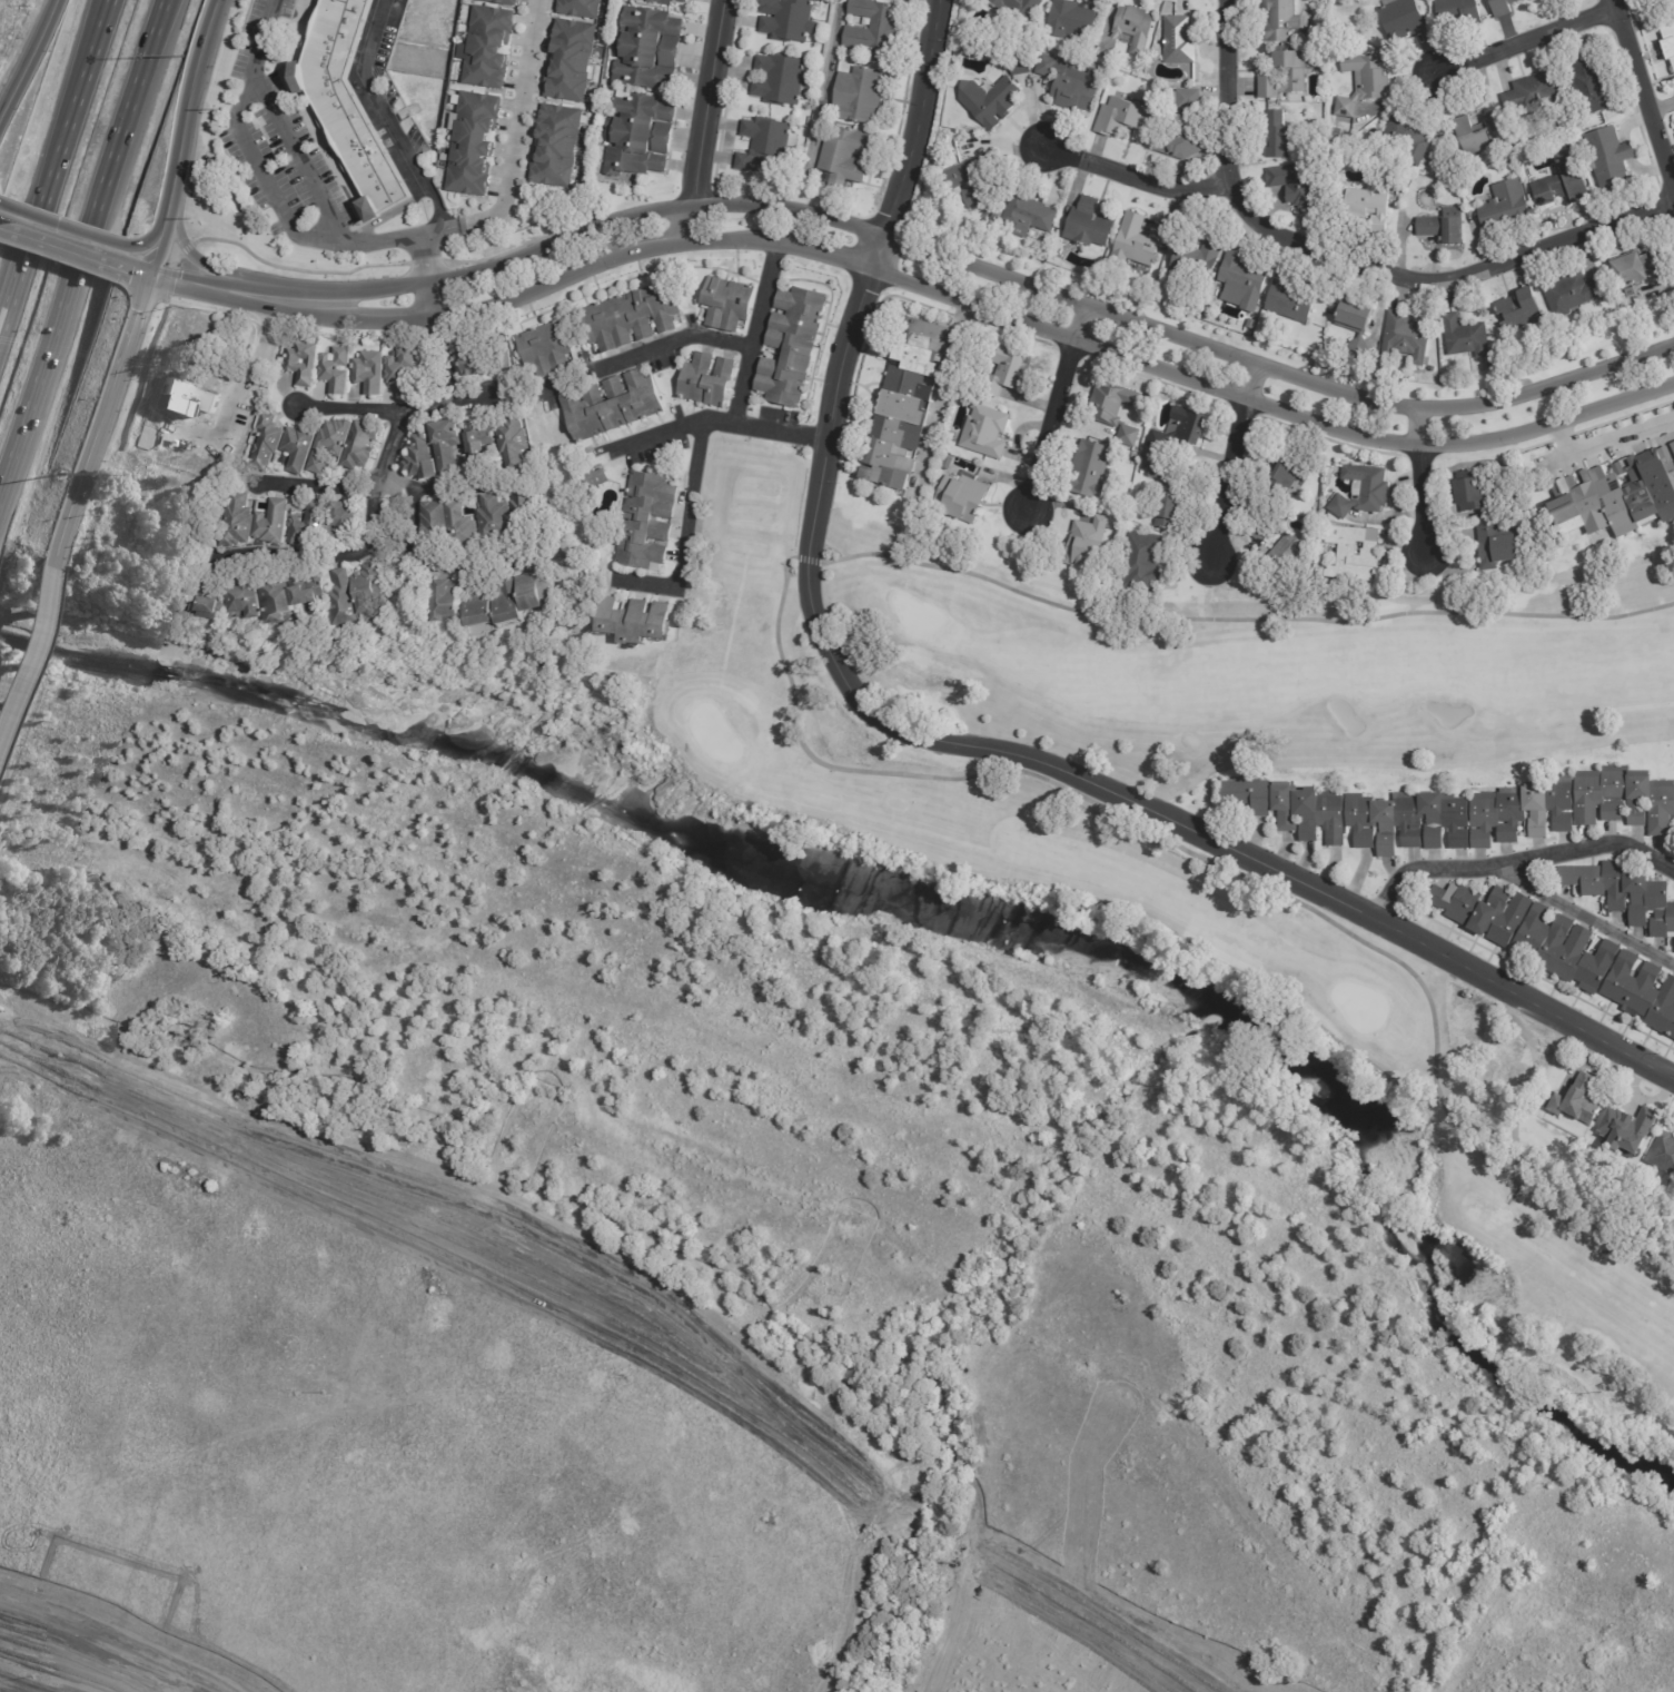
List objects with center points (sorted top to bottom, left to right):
building: (667, 1)
building: (505, 2)
building: (1660, 3)
building: (1502, 7)
building: (582, 8)
building: (1014, 9)
building: (1457, 12)
building: (1399, 19)
building: (791, 20)
building: (1069, 20)
building: (1277, 21)
road: (153, 23)
road: (156, 23)
building: (874, 27)
building: (1126, 33)
building: (1177, 41)
building: (1667, 41)
road: (1525, 43)
building: (492, 48)
building: (651, 50)
building: (575, 61)
road: (30, 65)
building: (1017, 65)
building: (1282, 76)
building: (784, 80)
building: (1361, 83)
building: (1069, 85)
road: (825, 86)
building: (1588, 86)
road: (71, 88)
building: (861, 95)
building: (1528, 95)
road: (1643, 95)
building: (987, 101)
building: (346, 103)
road: (713, 103)
building: (1120, 118)
road: (388, 119)
building: (1191, 122)
building: (1478, 135)
road: (186, 136)
building: (642, 136)
building: (1276, 137)
building: (1407, 138)
road: (514, 141)
building: (477, 145)
building: (769, 145)
building: (561, 147)
building: (849, 157)
building: (1607, 159)
road: (53, 161)
road: (291, 161)
building: (935, 171)
road: (1133, 177)
road: (269, 181)
building: (955, 184)
building: (1559, 184)
building: (1292, 185)
building: (1368, 207)
building: (1503, 207)
building: (981, 212)
building: (1027, 216)
building: (994, 218)
building: (1089, 225)
road: (696, 226)
building: (1440, 227)
road: (61, 243)
building: (1133, 245)
road: (937, 251)
road: (192, 253)
road: (424, 256)
building: (1196, 259)
road: (1351, 260)
road: (72, 263)
building: (1631, 273)
road: (152, 274)
building: (1240, 284)
road: (932, 289)
building: (1569, 294)
building: (1289, 300)
building: (729, 301)
building: (1519, 310)
building: (634, 316)
building: (1353, 327)
road: (752, 335)
building: (1465, 338)
building: (1404, 340)
building: (793, 345)
road: (436, 346)
building: (548, 348)
road: (643, 356)
building: (484, 358)
building: (303, 367)
building: (338, 369)
building: (405, 372)
building: (1003, 373)
building: (370, 376)
building: (709, 379)
road: (240, 390)
building: (1103, 399)
building: (1180, 403)
building: (613, 406)
building: (903, 406)
road: (393, 412)
road: (1060, 413)
road: (105, 414)
building: (983, 434)
building: (1179, 434)
building: (1127, 435)
building: (512, 436)
road: (657, 439)
building: (479, 441)
building: (269, 442)
road: (1608, 442)
building: (333, 443)
building: (447, 444)
building: (300, 447)
building: (361, 447)
building: (1673, 451)
building: (423, 455)
building: (944, 464)
road: (1230, 467)
building: (1089, 471)
building: (1286, 473)
building: (1155, 474)
building: (597, 477)
road: (692, 483)
road: (382, 489)
road: (1420, 489)
building: (930, 491)
building: (1360, 493)
building: (1466, 497)
building: (960, 498)
building: (1614, 504)
building: (1165, 509)
building: (523, 511)
building: (494, 517)
building: (648, 520)
building: (241, 521)
building: (275, 522)
building: (309, 523)
building: (344, 523)
building: (436, 524)
building: (462, 526)
building: (1257, 533)
building: (1083, 543)
road: (360, 546)
building: (1498, 547)
building: (1284, 554)
road: (409, 555)
building: (1354, 555)
road: (56, 560)
building: (1139, 563)
road: (466, 565)
building: (372, 585)
building: (538, 586)
building: (293, 593)
building: (251, 595)
building: (345, 598)
building: (448, 600)
building: (217, 602)
building: (512, 603)
building: (482, 605)
building: (638, 620)
road: (27, 643)
road: (939, 740)
building: (1624, 799)
building: (1287, 808)
building: (1519, 811)
building: (1406, 821)
park: (1209, 823)
road: (1515, 859)
building: (1623, 894)
building: (1480, 911)
road: (1582, 917)
building: (1563, 950)
building: (1642, 993)
building: (1575, 1102)
building: (1627, 1131)
building: (1663, 1156)

